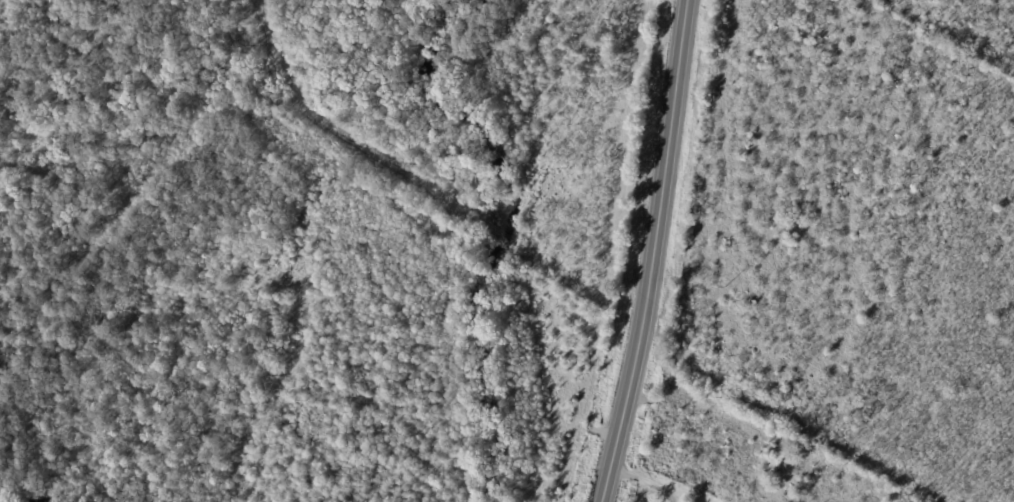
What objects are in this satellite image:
road: (649, 252)
road: (642, 478)

